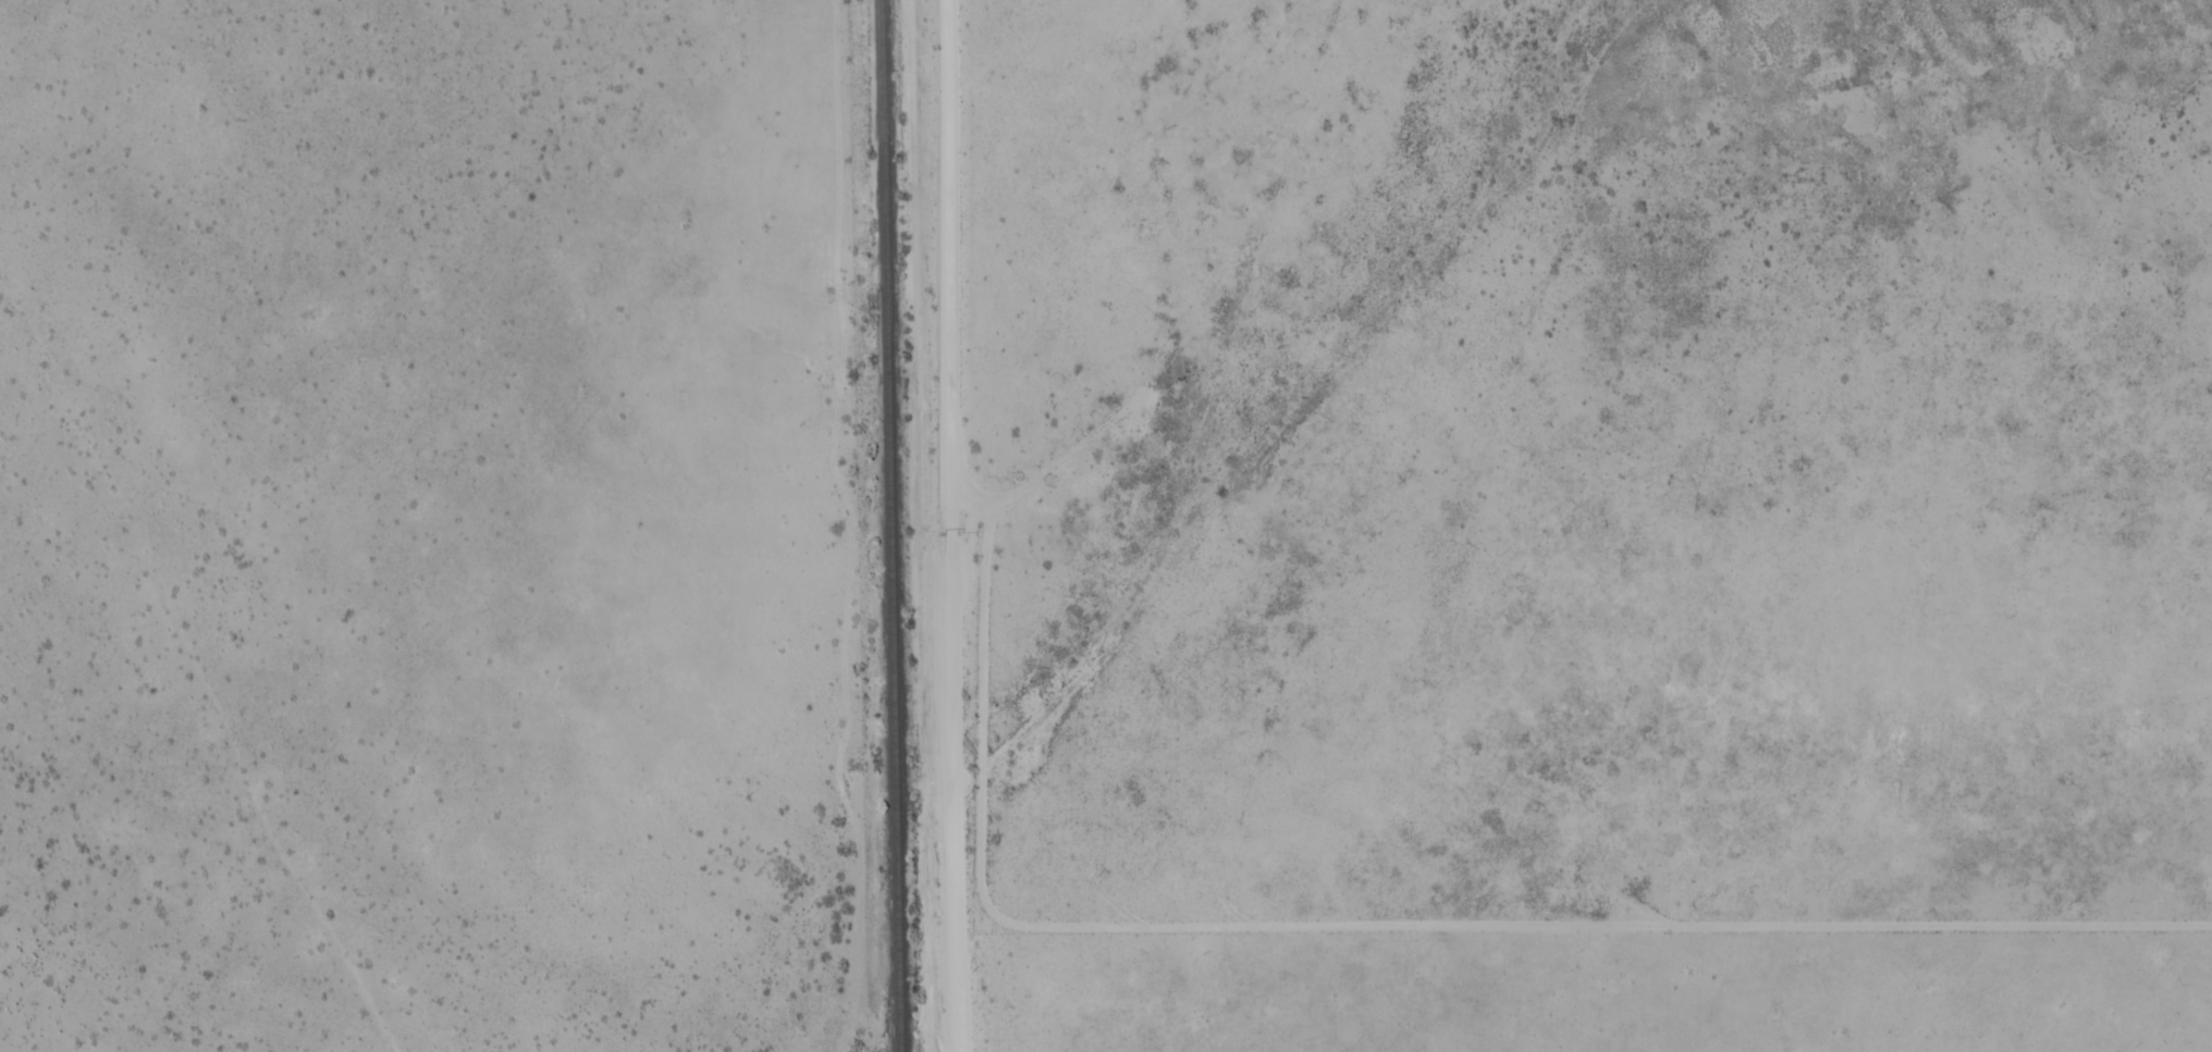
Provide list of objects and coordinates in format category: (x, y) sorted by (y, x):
railway: (892, 525)
road: (954, 525)
road: (192, 684)

